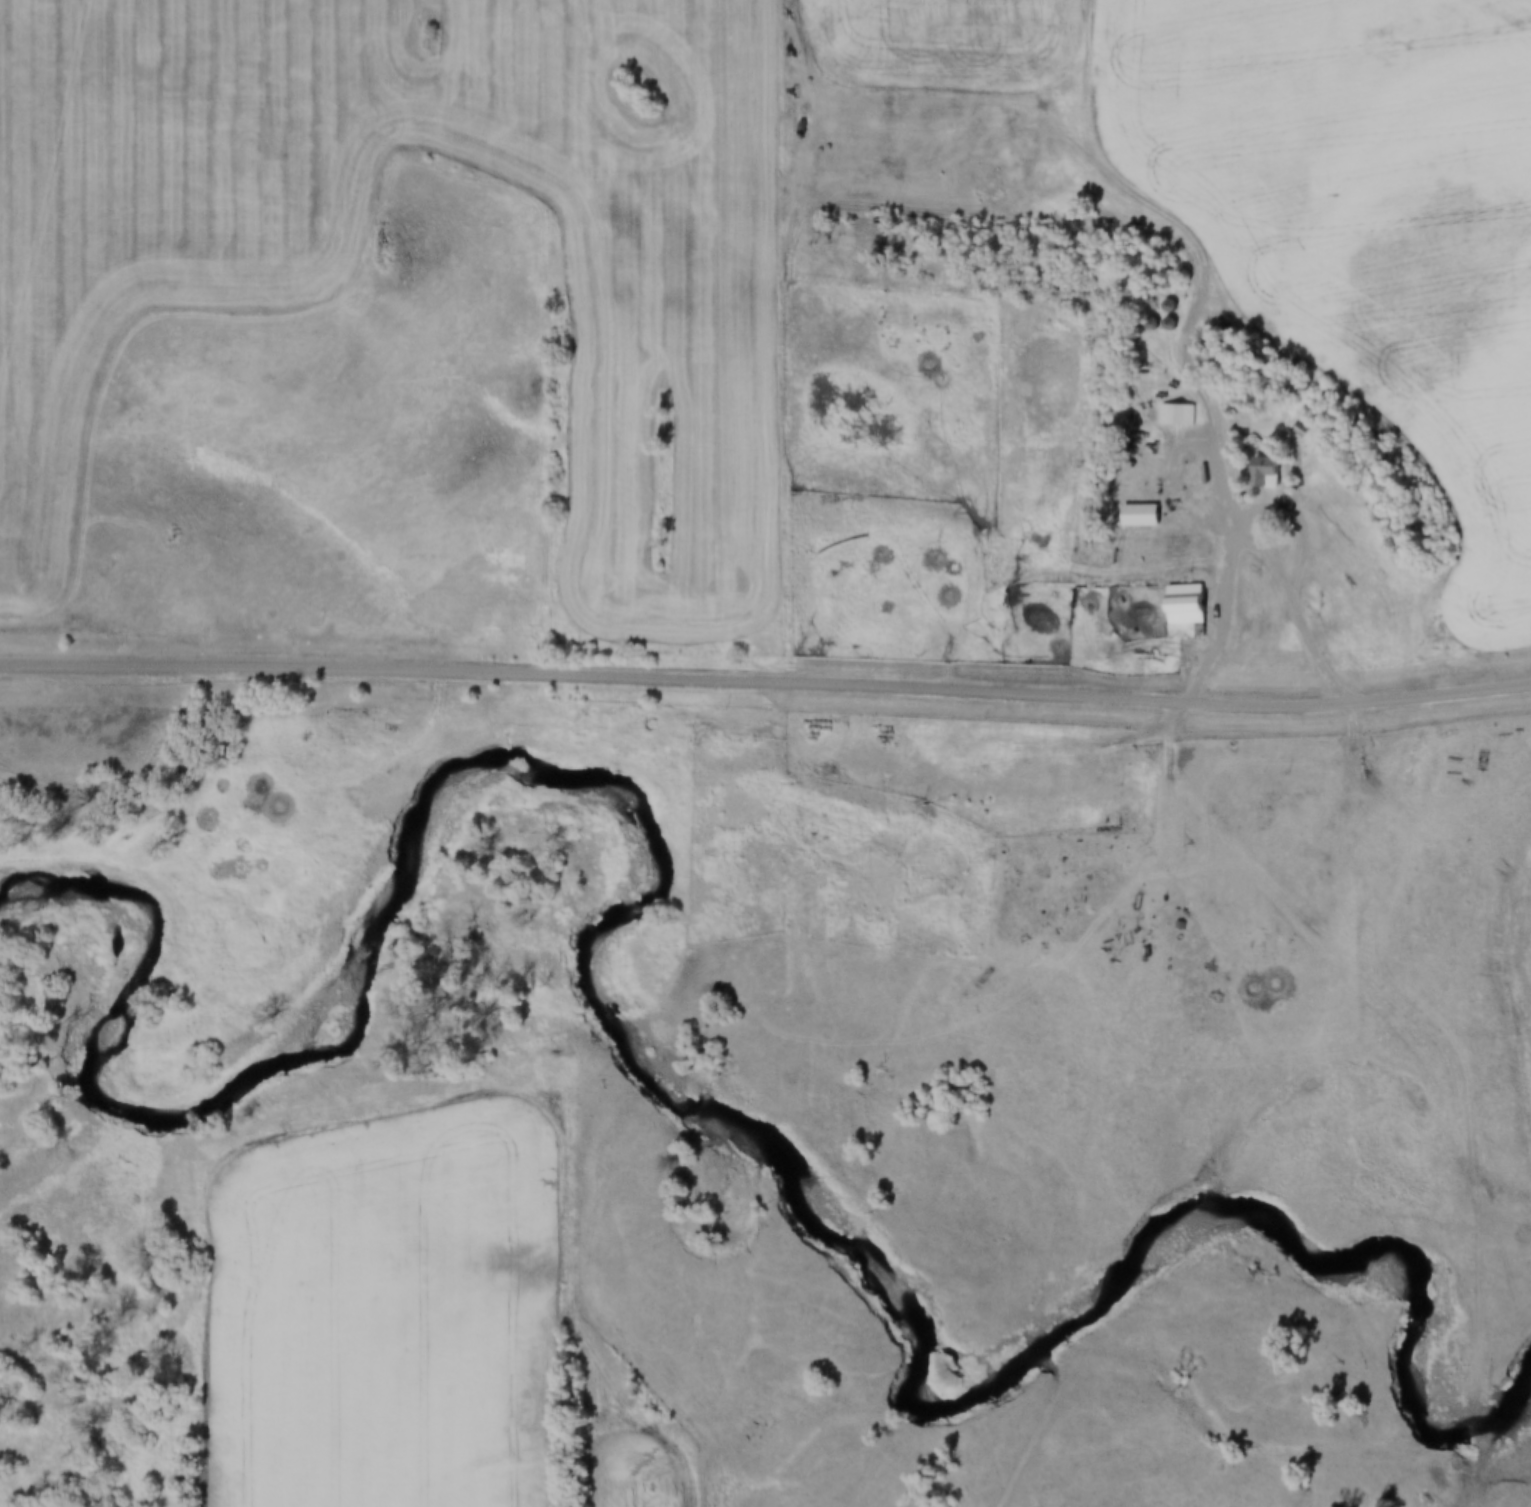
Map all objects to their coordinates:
building: (1179, 415)
building: (1270, 470)
building: (1143, 515)
road: (1243, 528)
building: (1188, 605)
road: (766, 683)

